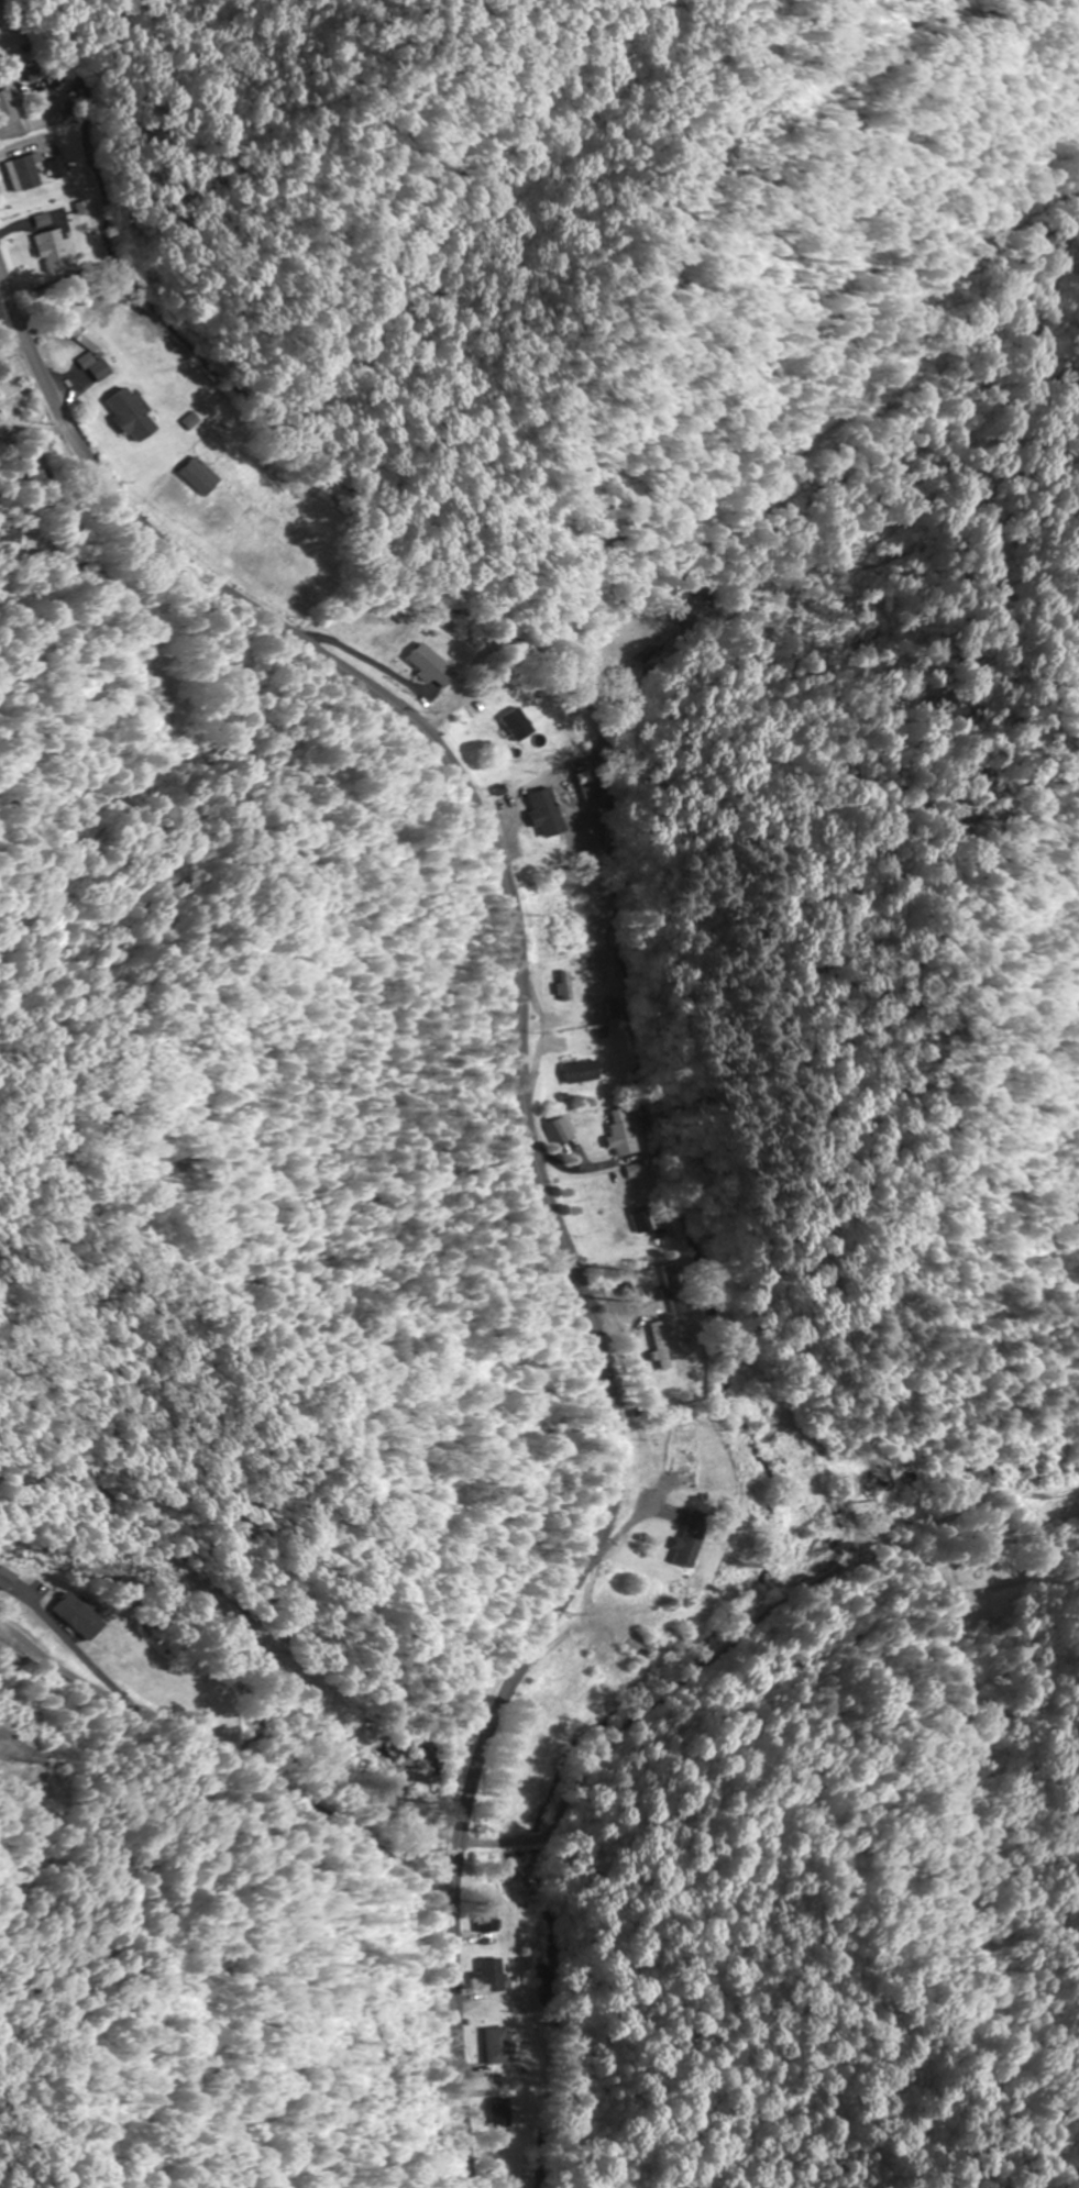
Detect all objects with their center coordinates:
building: (40, 70)
building: (8, 108)
building: (26, 170)
building: (45, 220)
building: (59, 252)
road: (10, 323)
building: (135, 415)
building: (203, 476)
building: (12, 540)
building: (432, 663)
building: (520, 723)
building: (587, 785)
building: (550, 811)
building: (569, 992)
building: (585, 1071)
building: (569, 1128)
building: (625, 1131)
road: (535, 1147)
building: (648, 1220)
building: (665, 1346)
building: (885, 1479)
building: (693, 1539)
road: (224, 1725)
building: (425, 1756)
building: (397, 1788)
building: (488, 1916)
building: (493, 1975)
building: (502, 2045)

